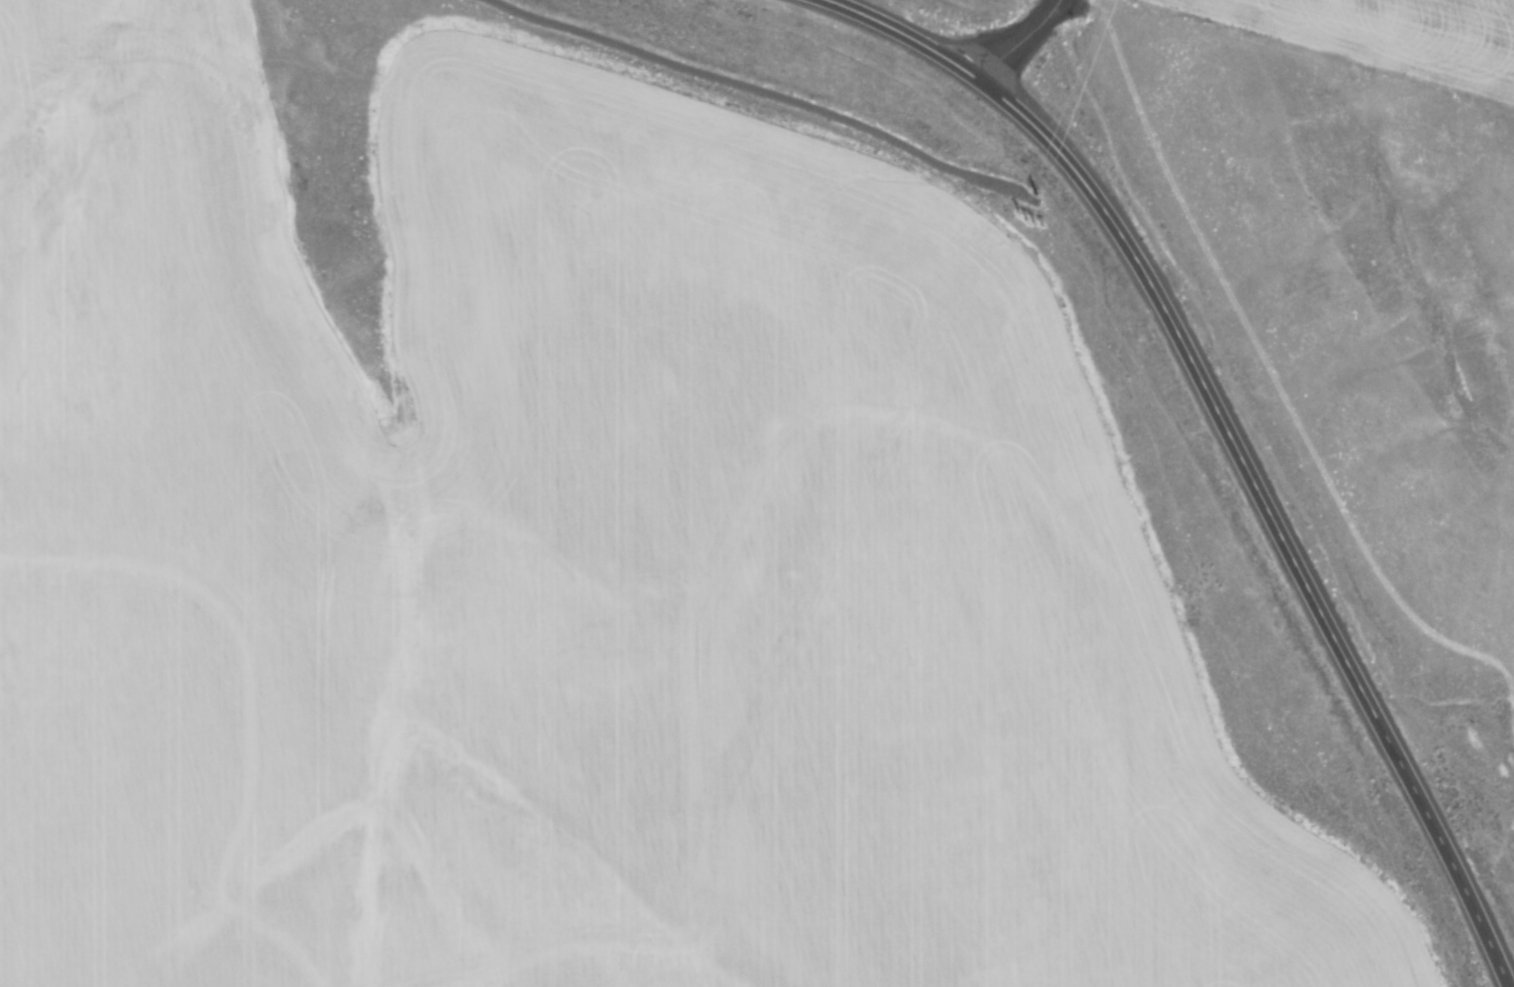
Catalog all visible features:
power tower: (1110, 8)
road: (1015, 36)
power tower: (1032, 203)
road: (1216, 453)

